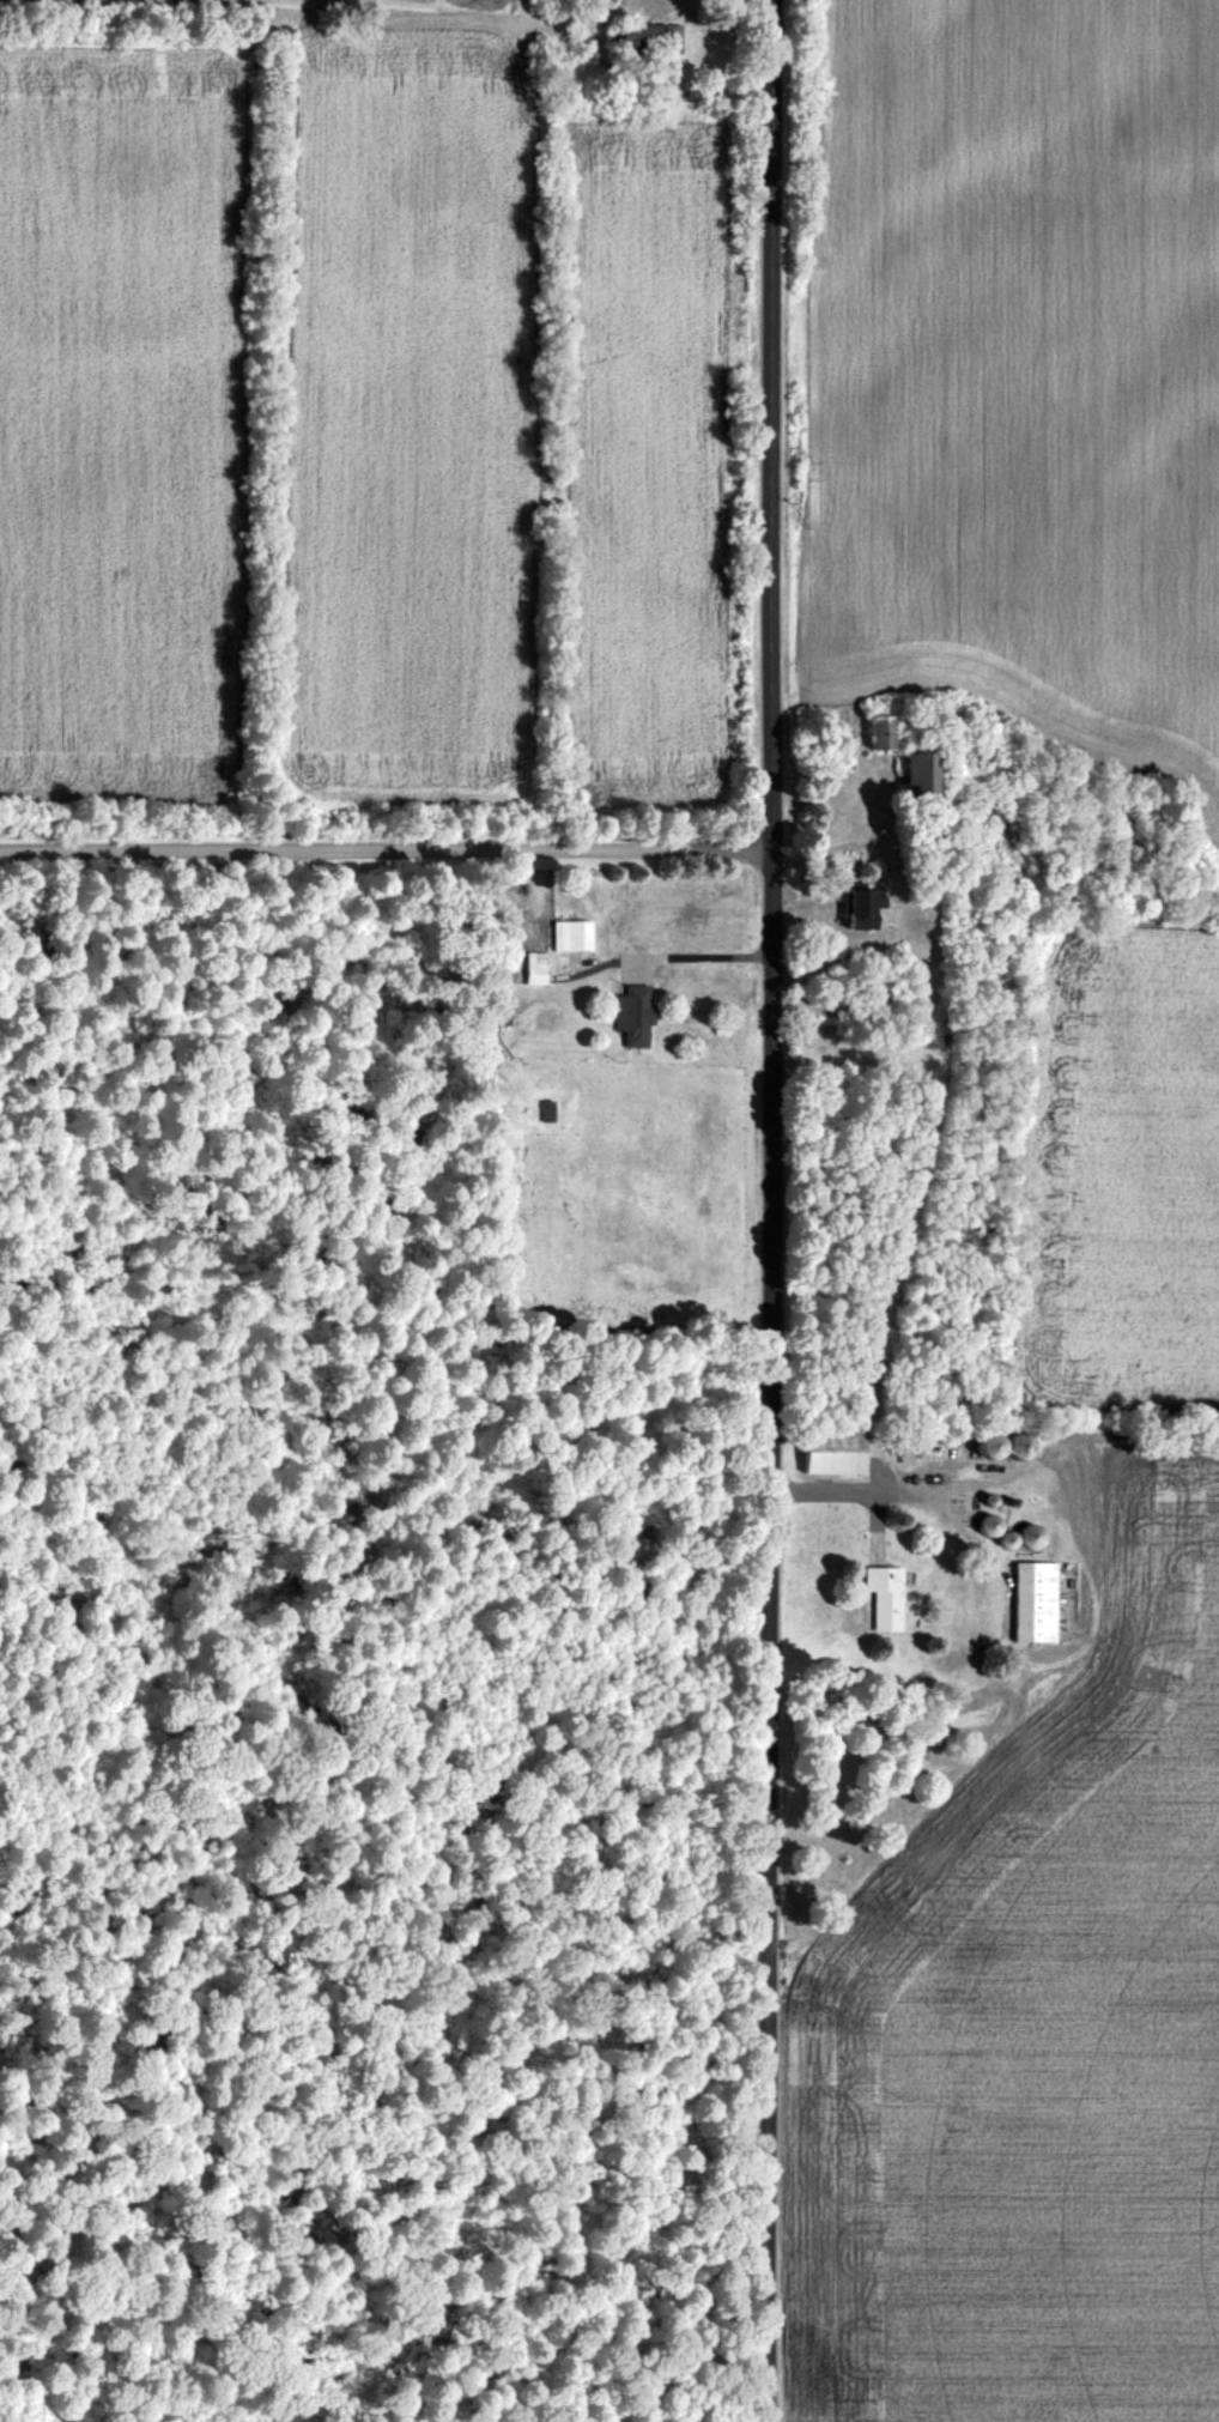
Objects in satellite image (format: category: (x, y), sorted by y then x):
building: (639, 37)
building: (871, 733)
building: (908, 779)
road: (386, 852)
building: (854, 908)
building: (569, 937)
building: (631, 1017)
road: (771, 1210)
building: (991, 1446)
building: (1020, 1446)
building: (835, 1452)
building: (1032, 1536)
building: (886, 1599)
building: (1036, 1601)

